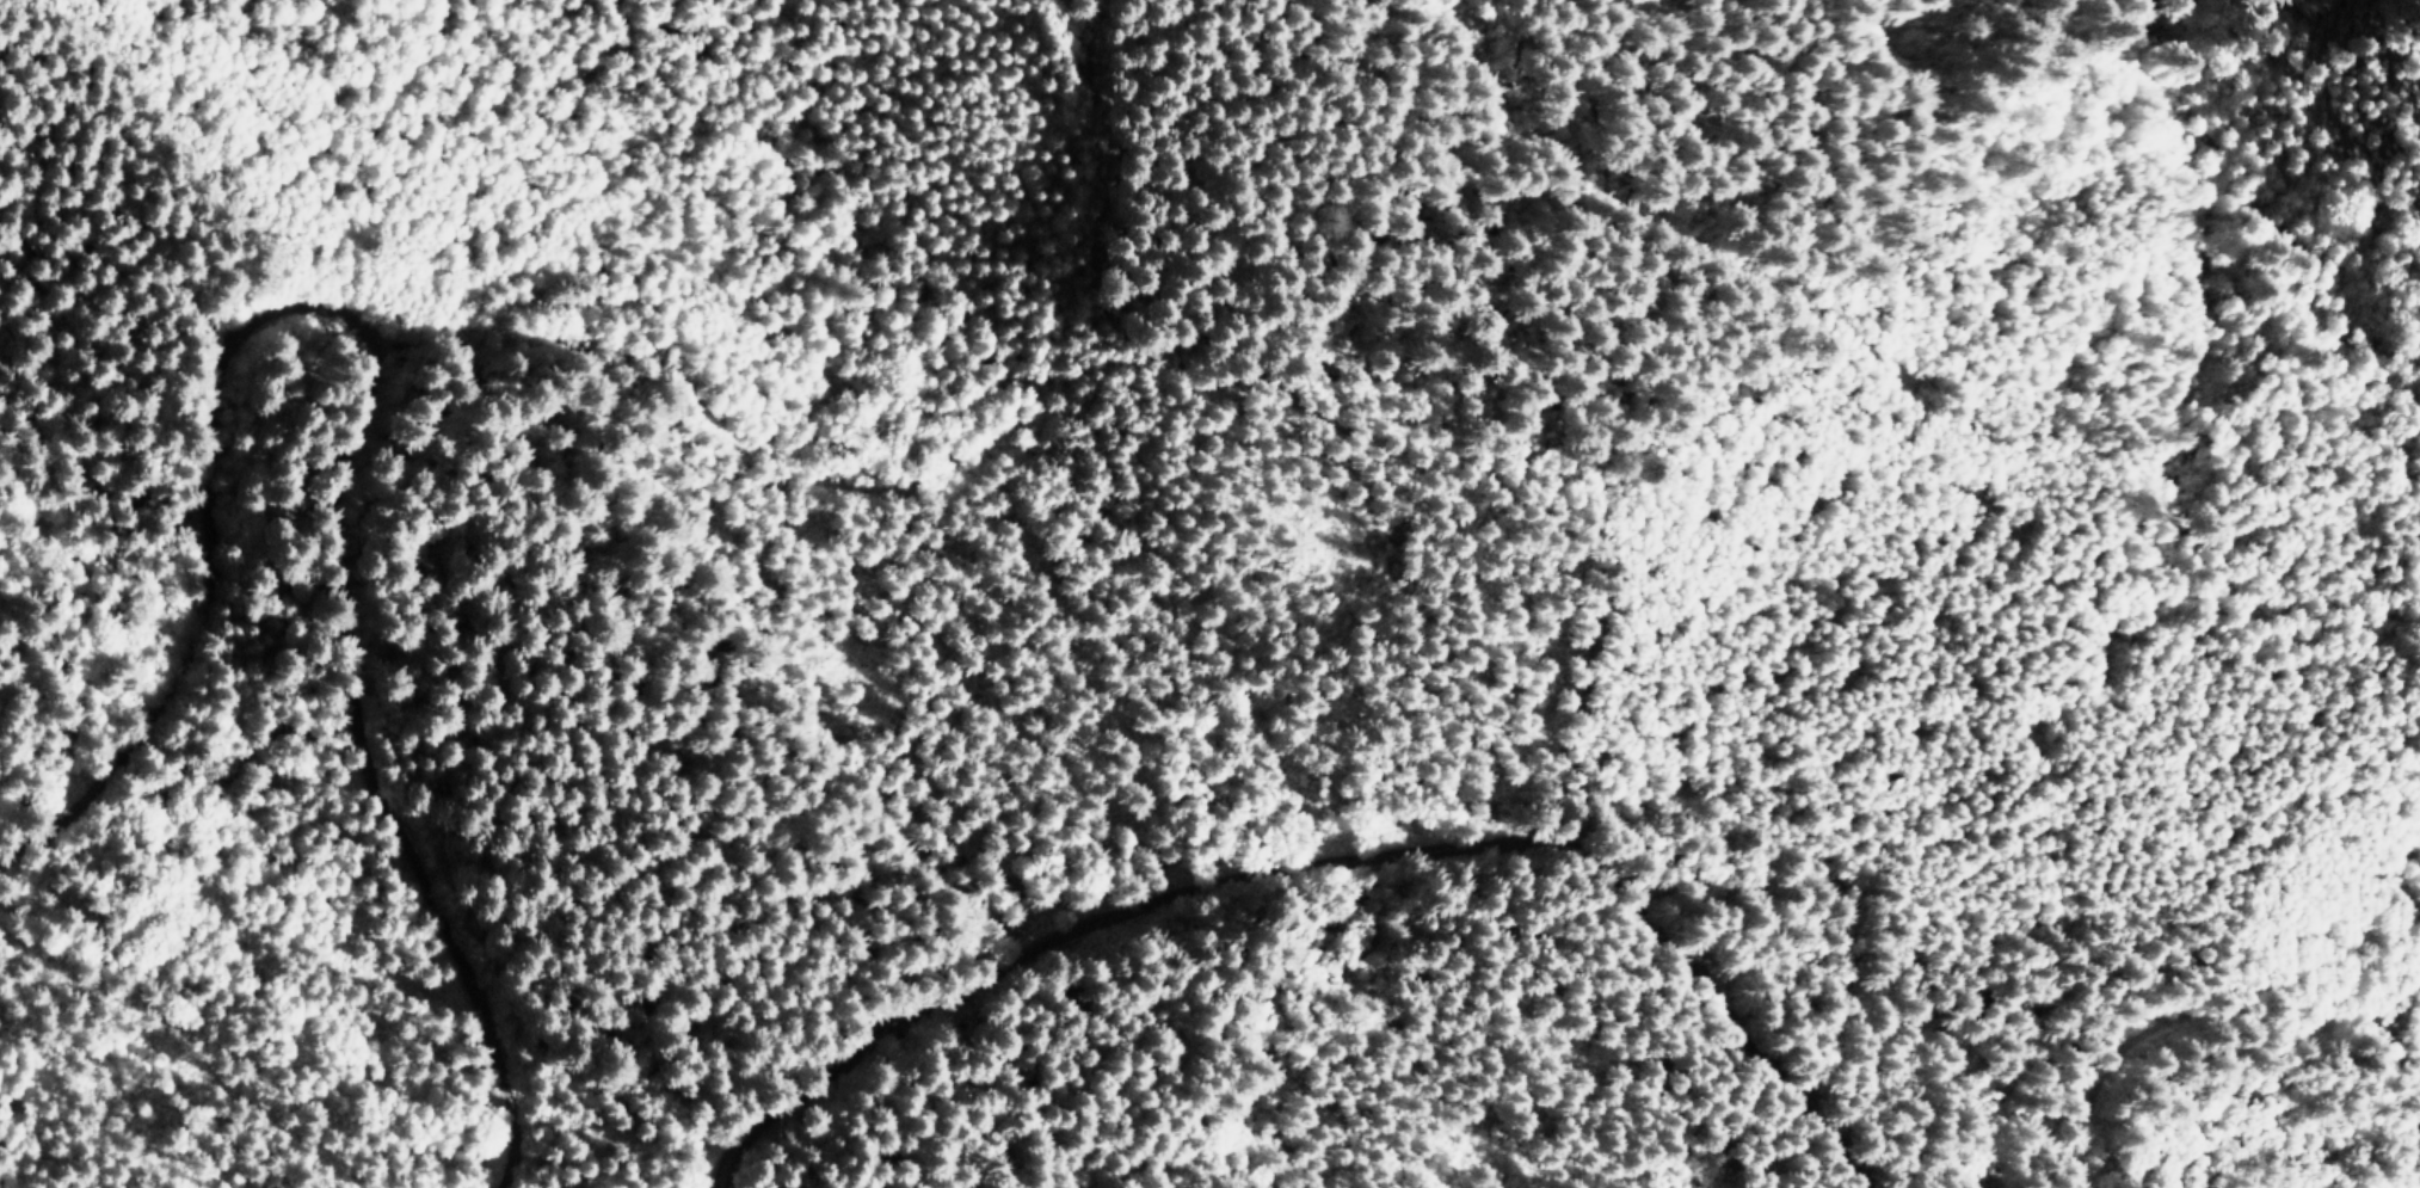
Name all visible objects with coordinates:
road: (415, 320)
road: (1824, 352)
road: (949, 504)
road: (1357, 876)
road: (2199, 1070)
road: (886, 1131)

